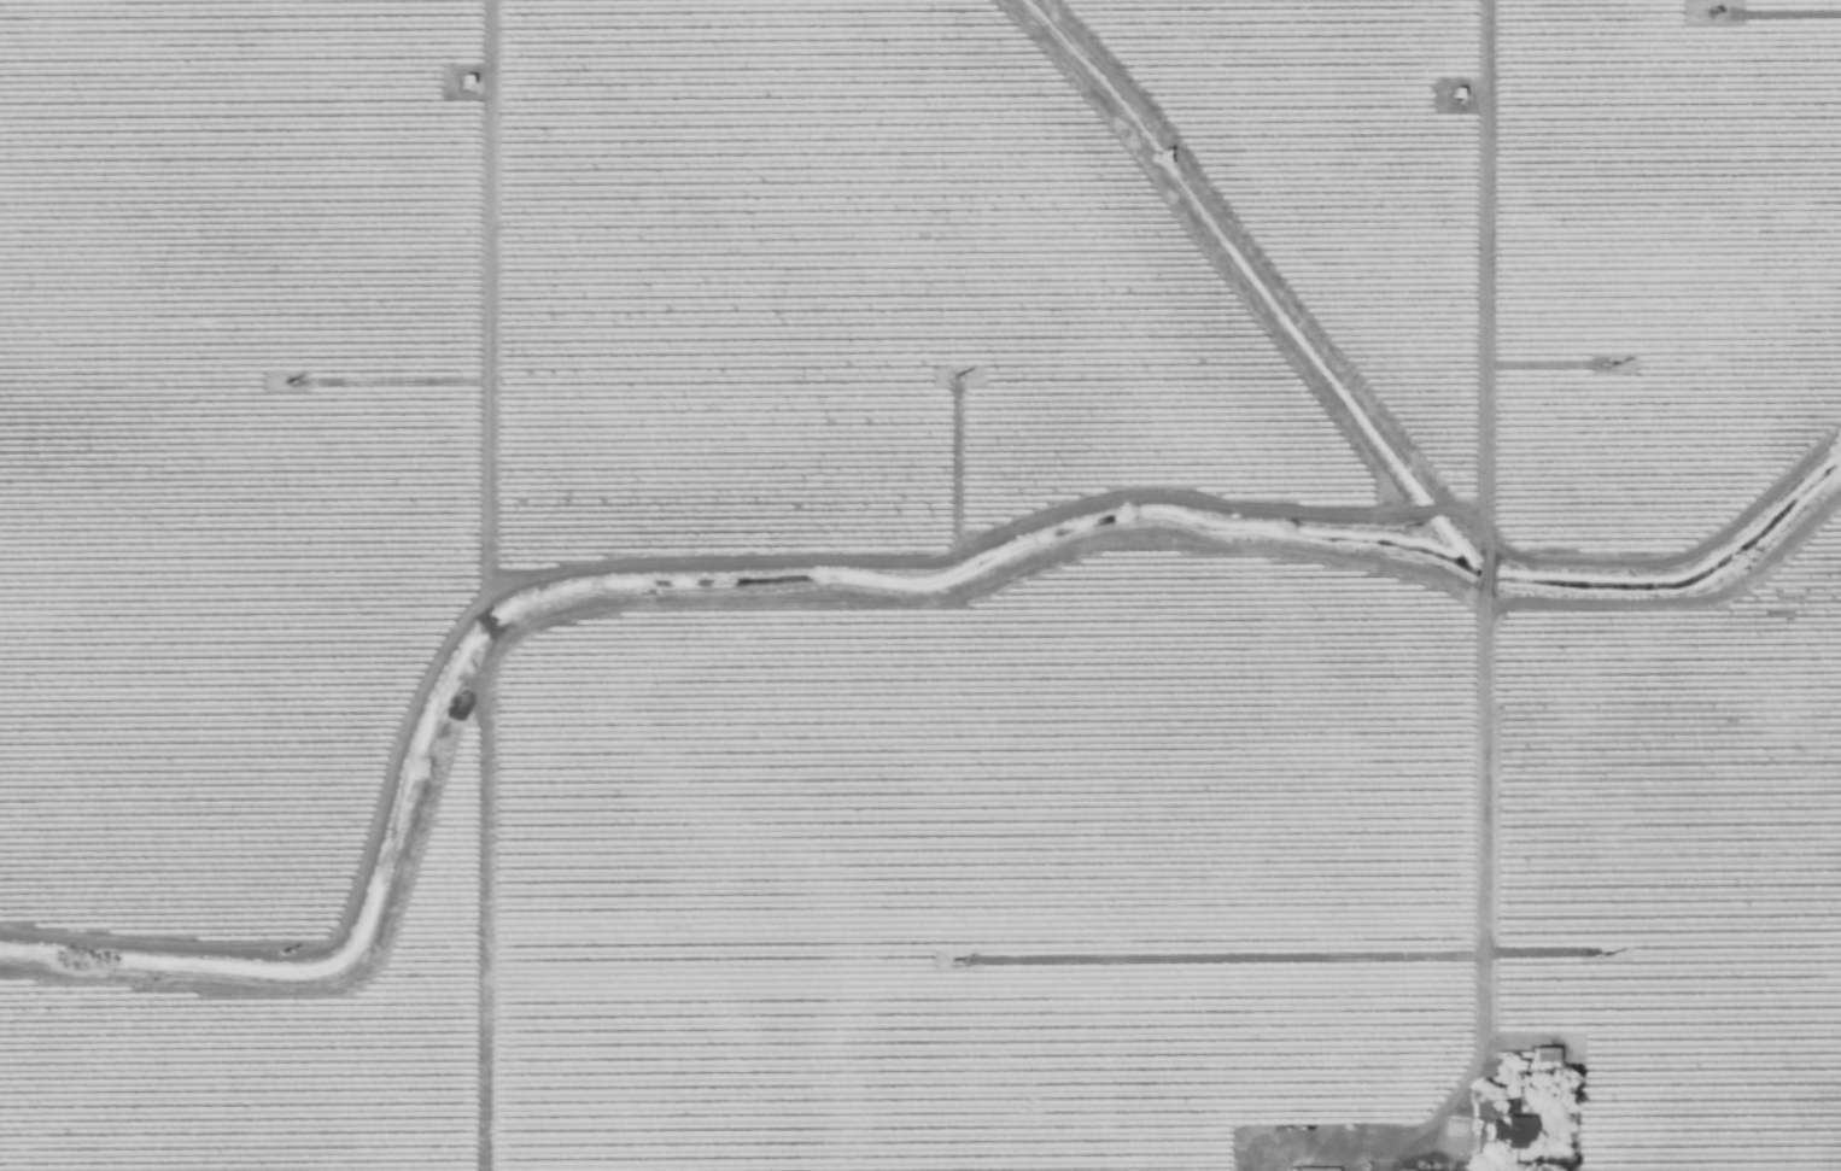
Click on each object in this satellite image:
building: (462, 83)
building: (1453, 94)
road: (1488, 792)
building: (1543, 1054)
building: (1484, 1102)
building: (1508, 1103)
building: (1513, 1134)
building: (1315, 1170)

